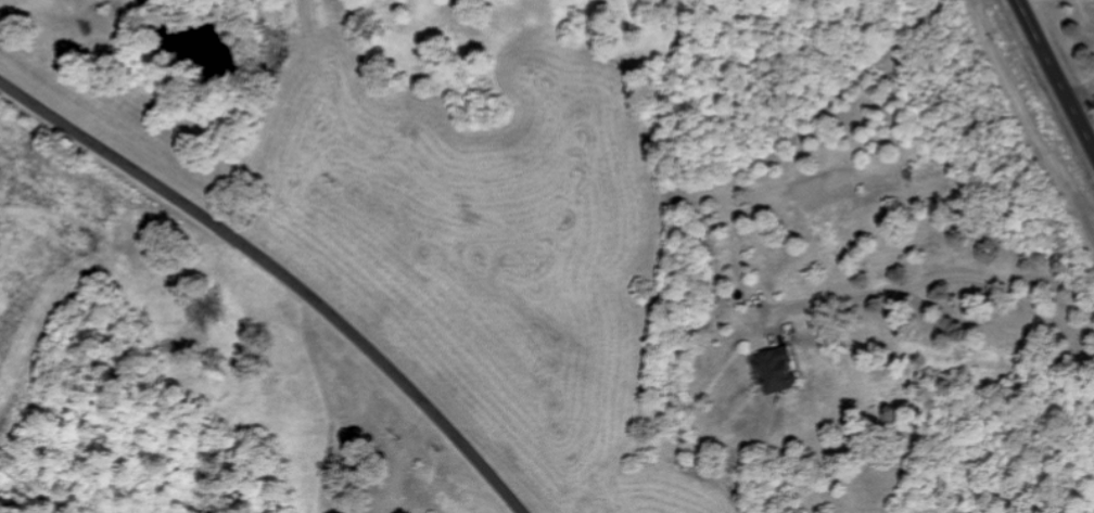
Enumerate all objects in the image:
road: (1055, 74)
road: (281, 273)
road: (937, 278)
building: (773, 370)

